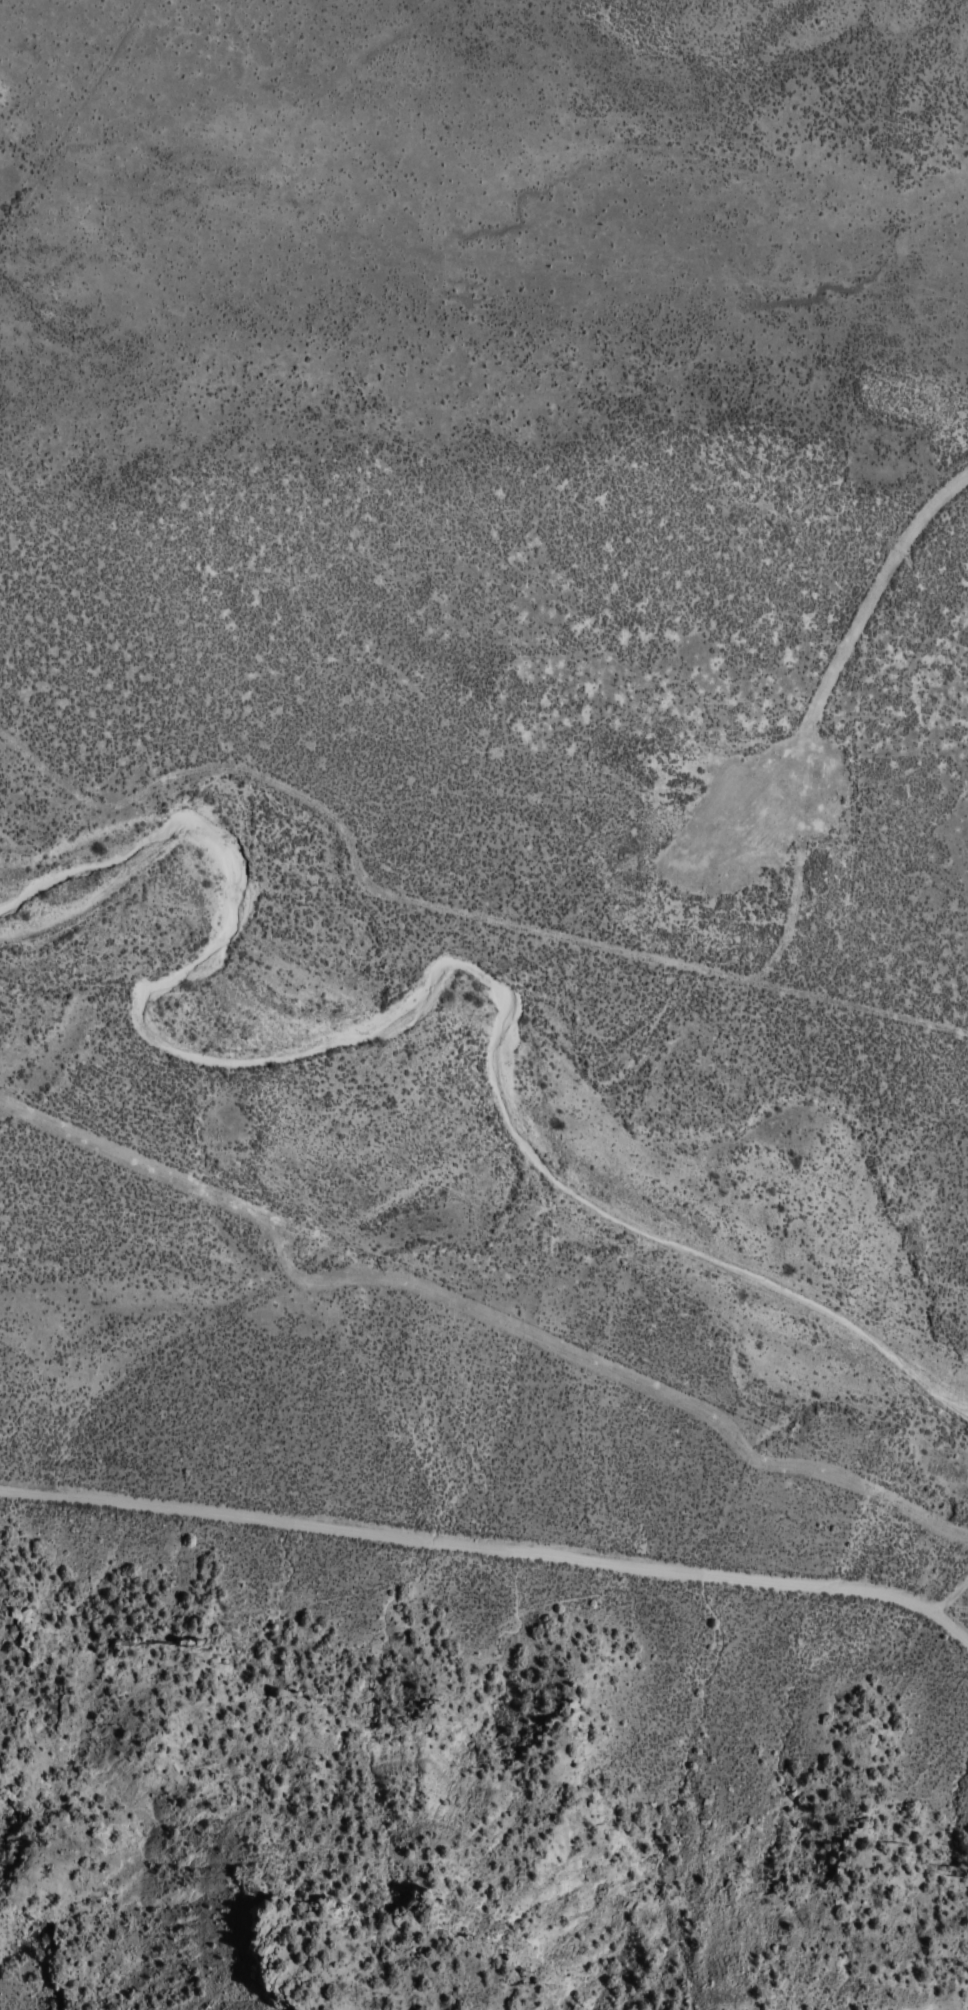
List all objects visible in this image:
road: (936, 198)
road: (604, 1064)
river: (515, 1077)
road: (484, 1539)

